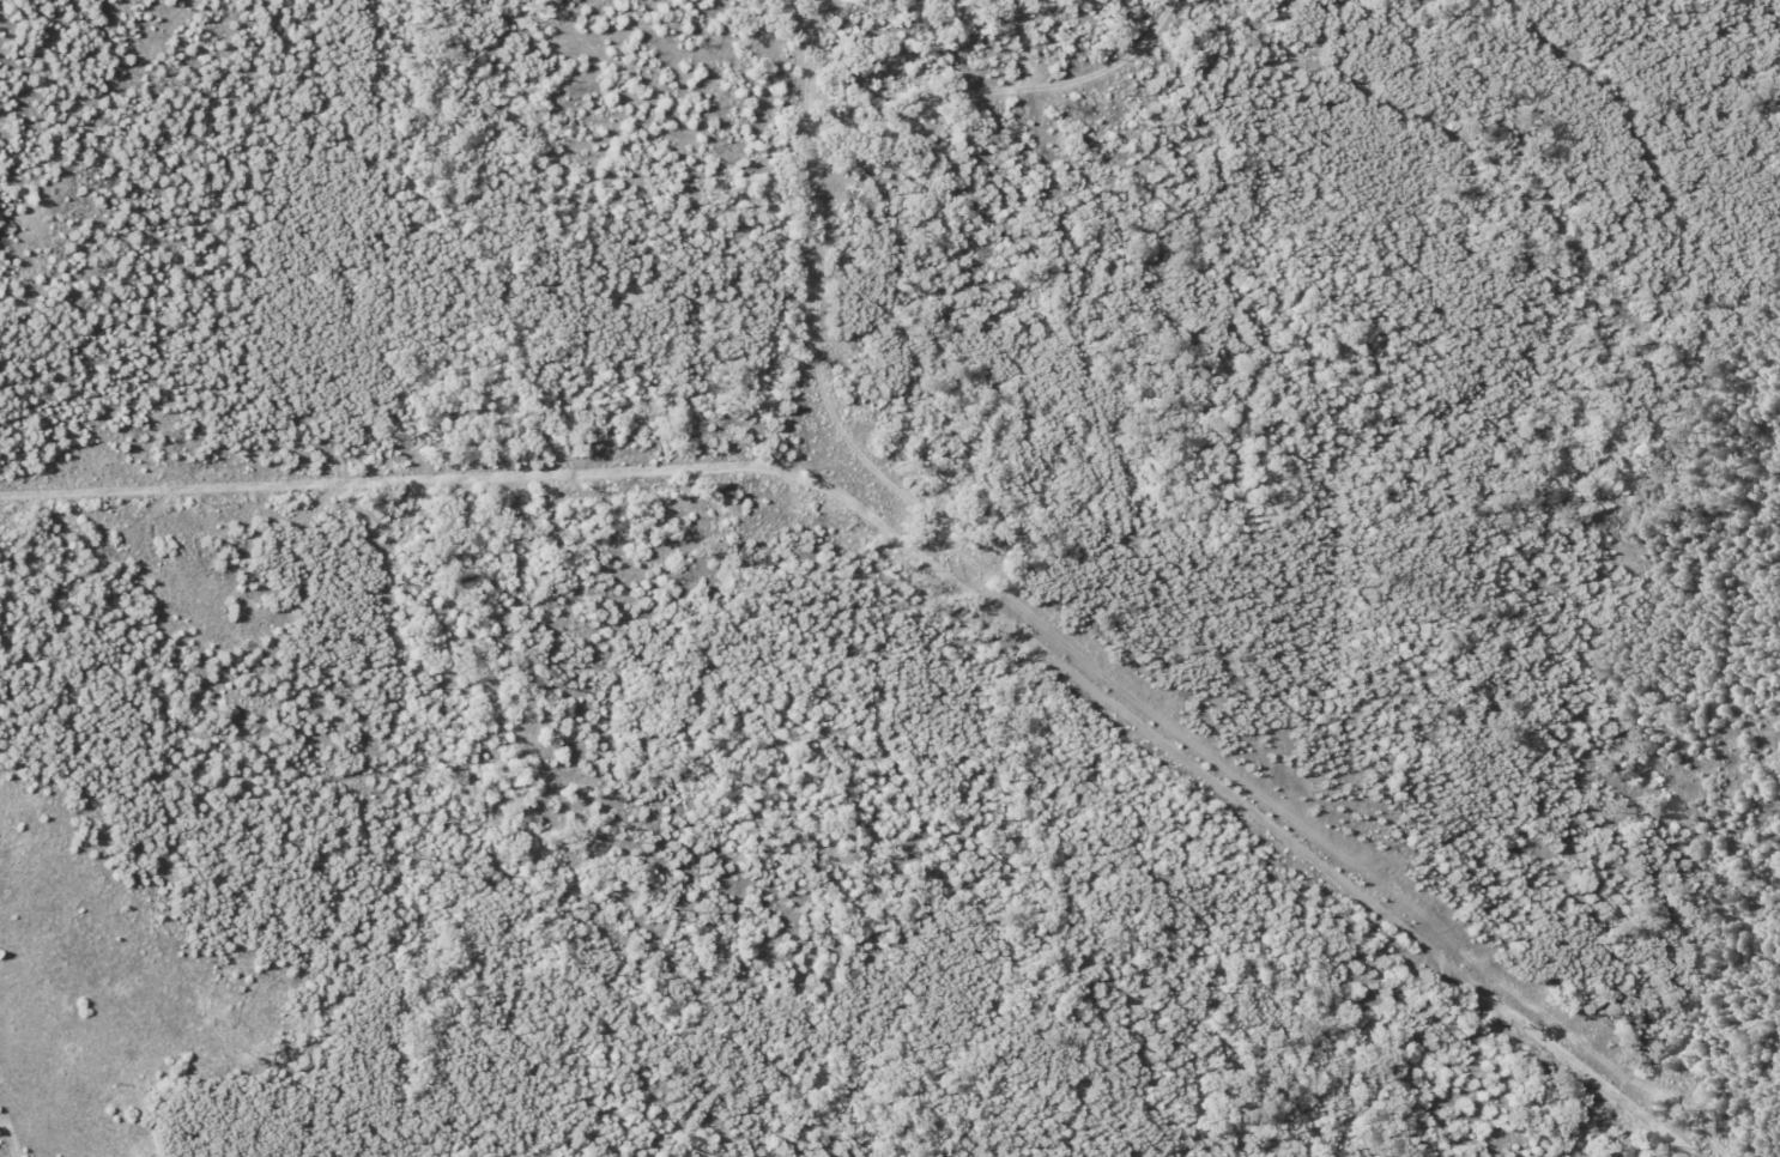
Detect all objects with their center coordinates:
park: (680, 860)

